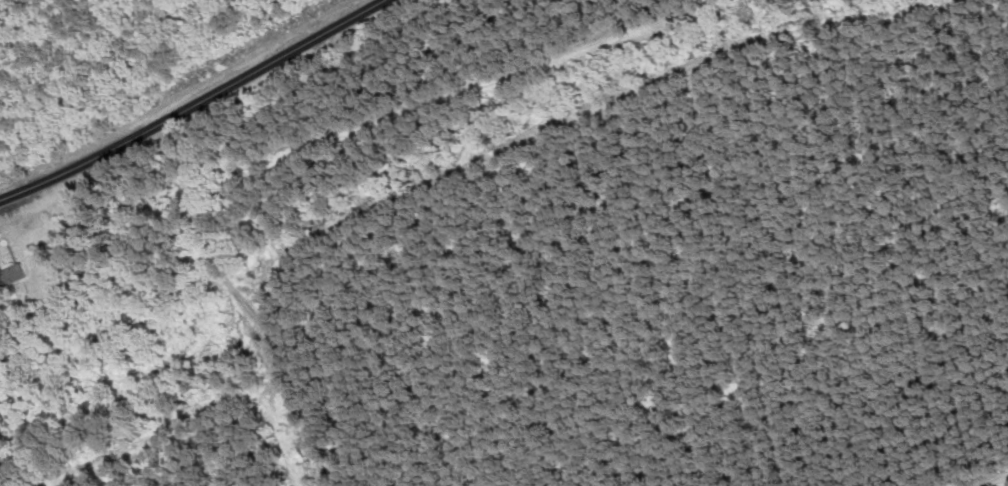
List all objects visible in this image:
road: (194, 104)
building: (11, 275)

